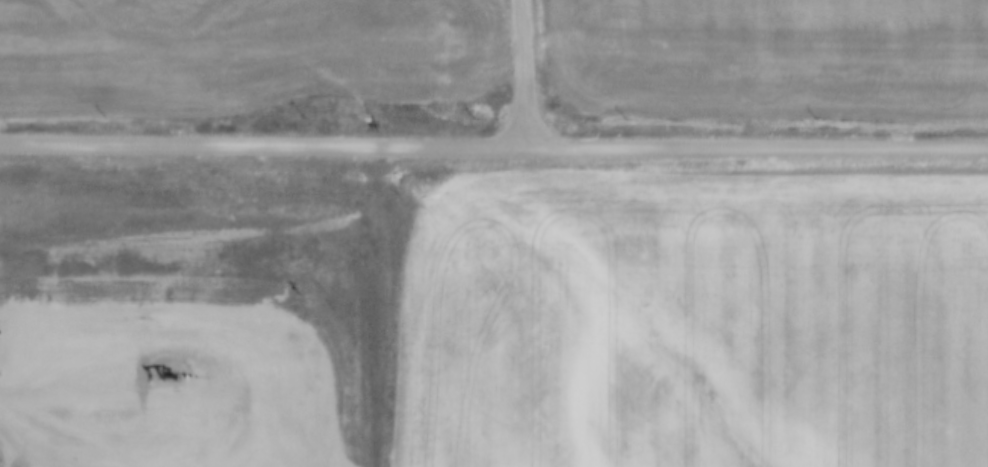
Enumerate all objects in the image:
road: (484, 101)
building: (241, 371)

